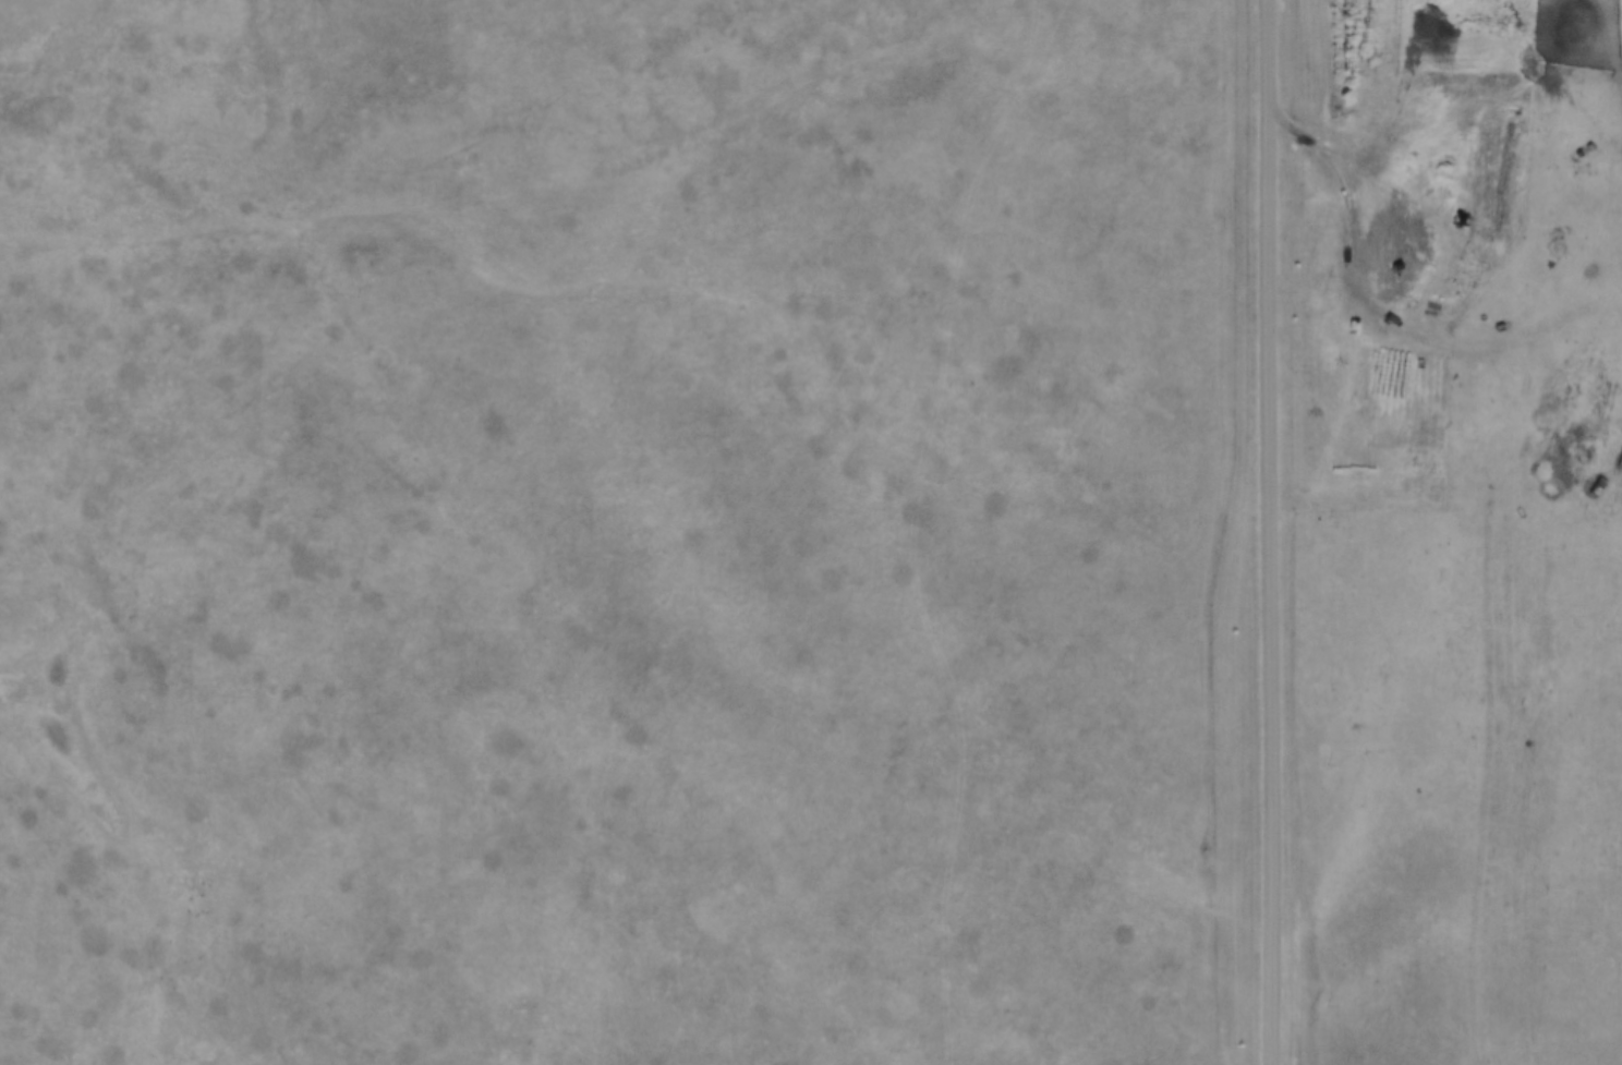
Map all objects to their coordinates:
road: (1383, 117)
road: (1272, 532)

